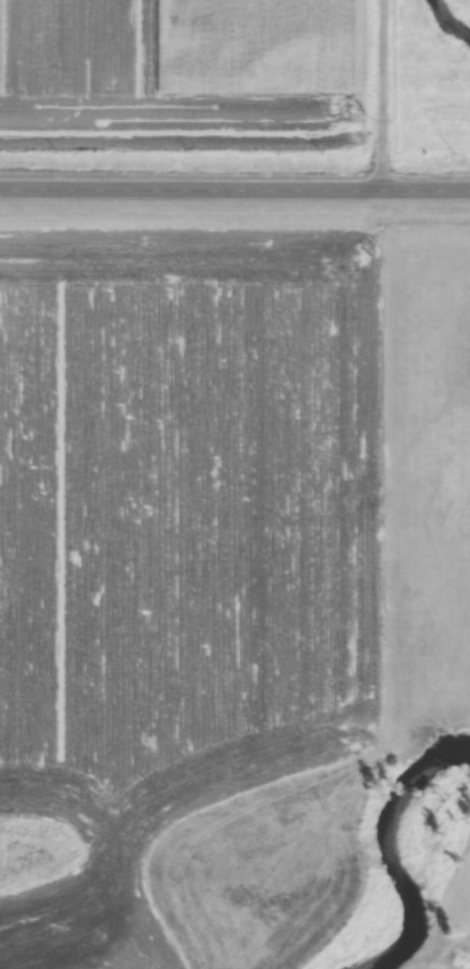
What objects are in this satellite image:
river: (452, 16)
road: (235, 184)
river: (397, 847)

